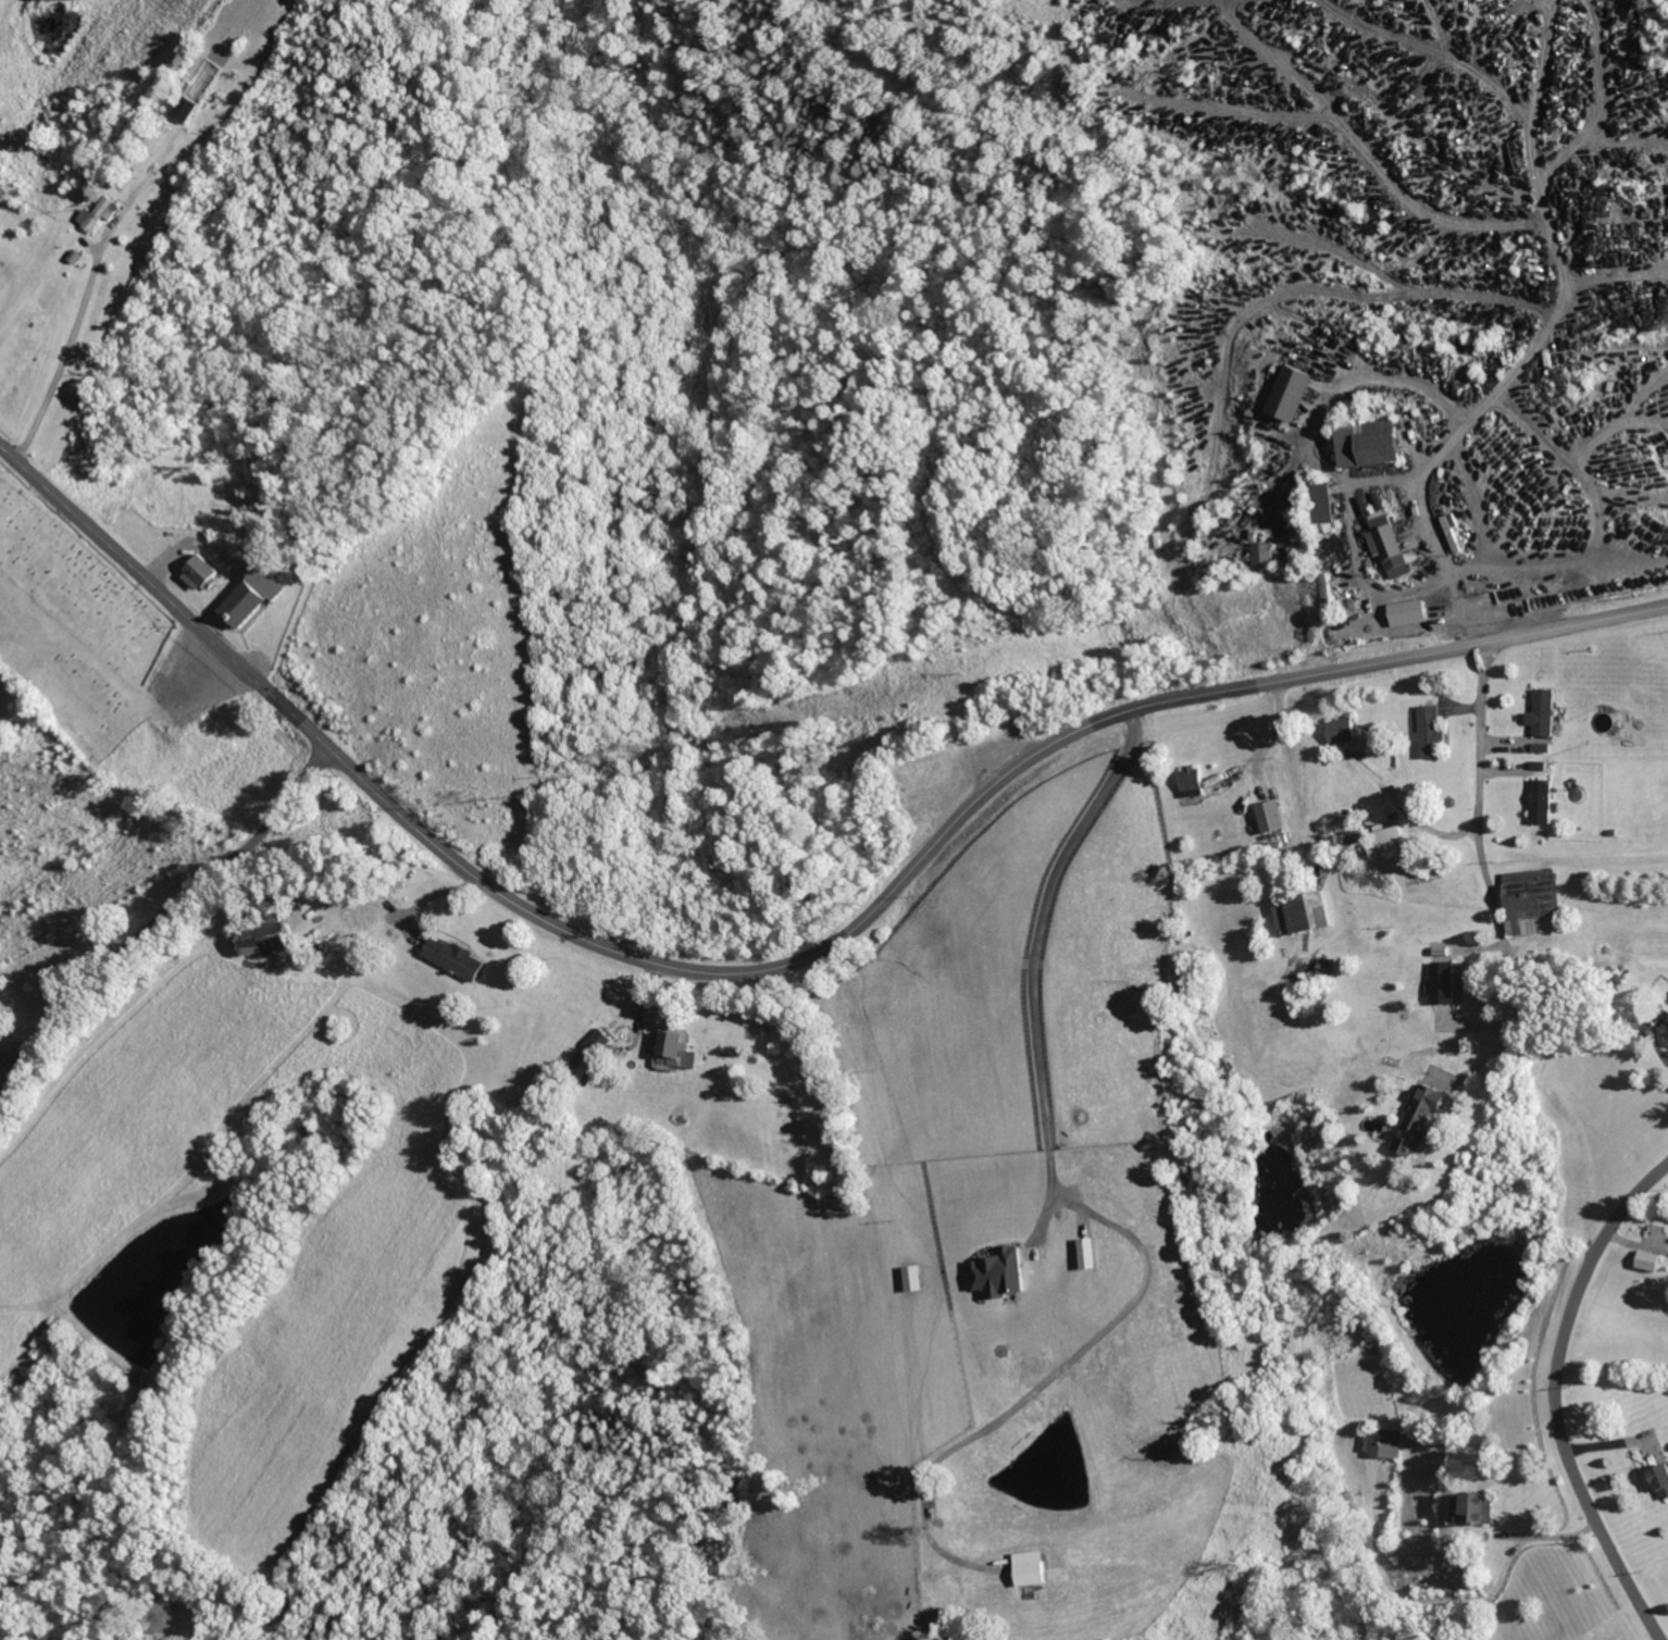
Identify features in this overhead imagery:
building: (188, 108)
building: (102, 213)
road: (70, 358)
road: (1573, 375)
building: (1295, 393)
building: (1382, 444)
building: (1329, 502)
building: (1453, 532)
building: (1391, 545)
building: (1262, 556)
building: (203, 572)
building: (1324, 593)
building: (258, 596)
park: (72, 623)
building: (1544, 713)
building: (1343, 731)
building: (1432, 733)
road: (1262, 742)
building: (1543, 748)
building: (1194, 781)
road: (1478, 793)
building: (1542, 803)
building: (1270, 817)
building: (1385, 838)
building: (1534, 898)
building: (1310, 914)
road: (160, 918)
building: (272, 940)
building: (459, 958)
road: (789, 962)
road: (1035, 965)
building: (1445, 983)
building: (1666, 1030)
building: (1, 1035)
building: (602, 1040)
building: (680, 1049)
building: (1424, 1116)
building: (1093, 1253)
building: (1653, 1260)
building: (1003, 1272)
road: (1558, 1399)
building: (1387, 1443)
building: (1660, 1480)
building: (1480, 1506)
road: (1544, 1536)
building: (1034, 1567)

